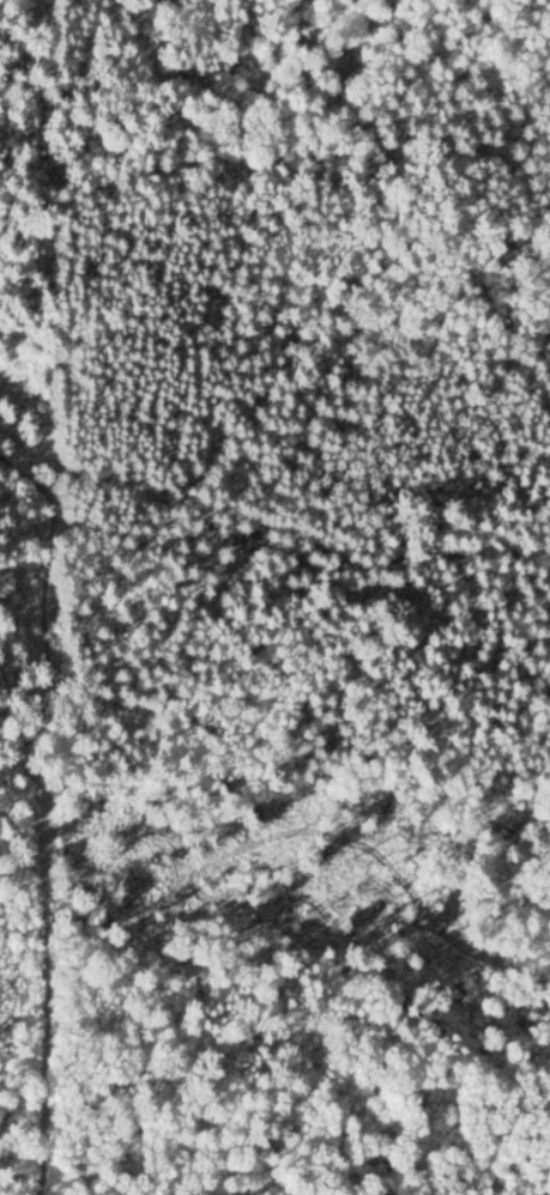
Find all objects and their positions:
road: (49, 1006)

